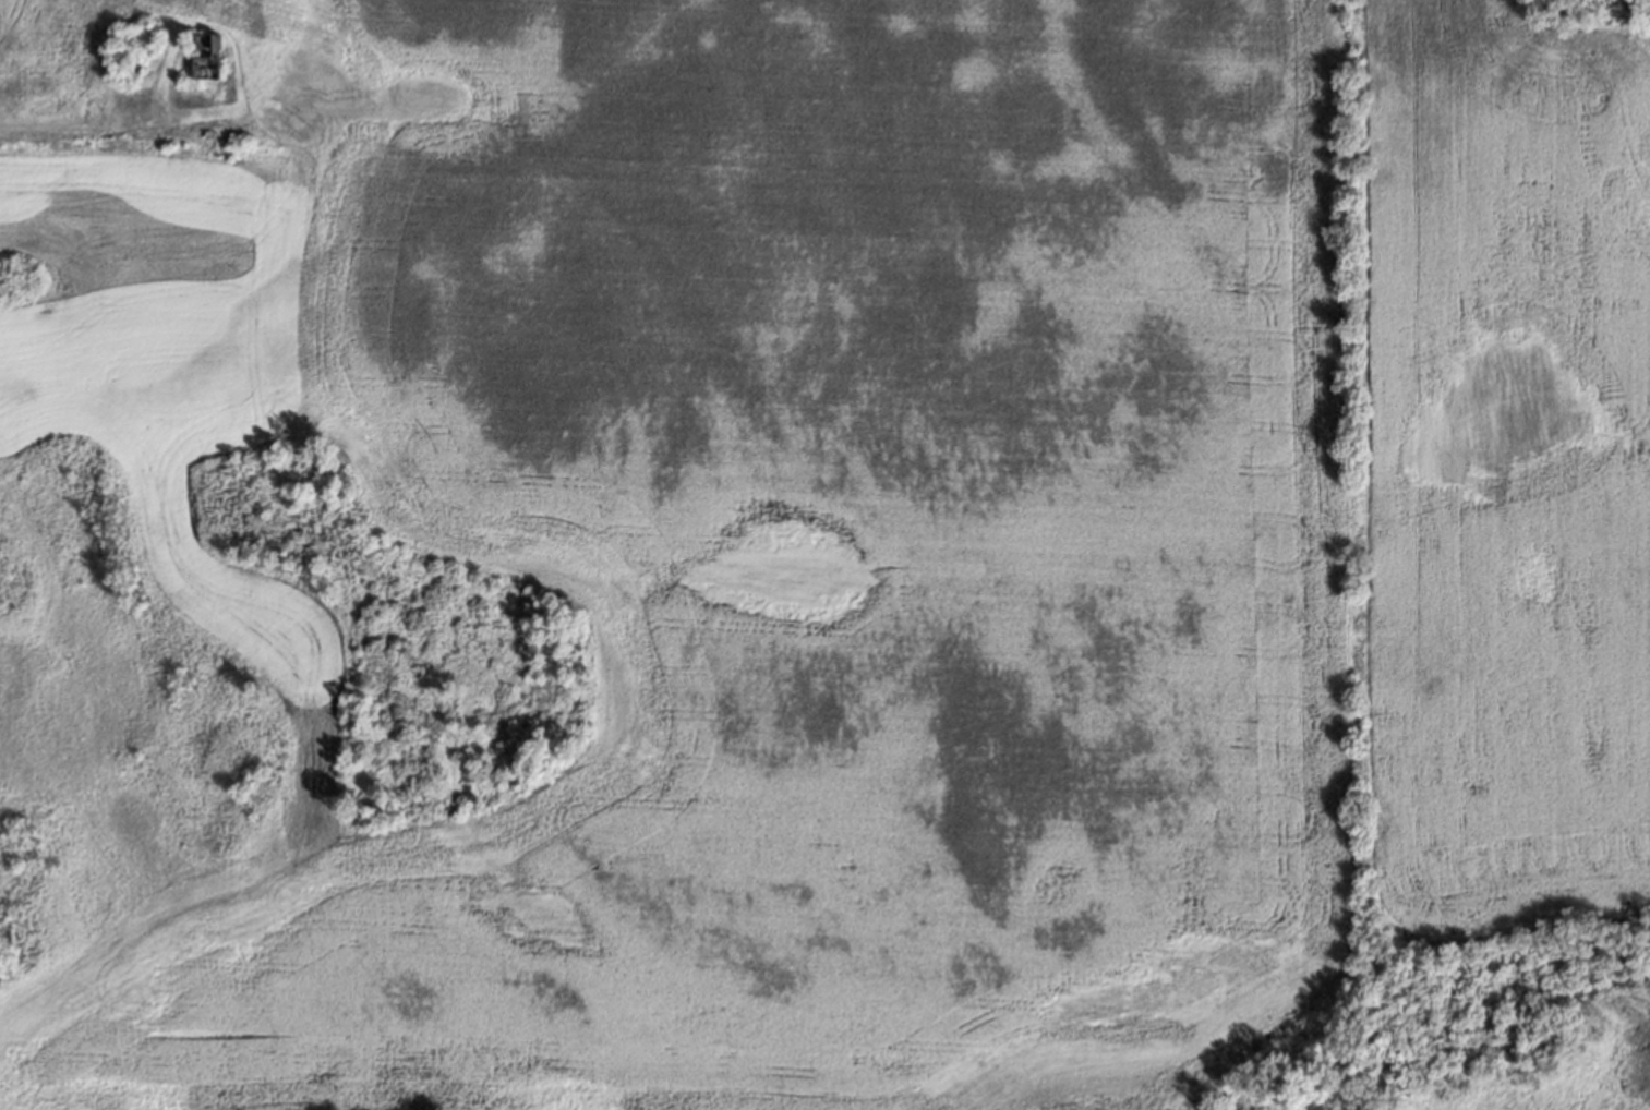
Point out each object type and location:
building: (210, 58)
building: (129, 73)
road: (87, 133)

